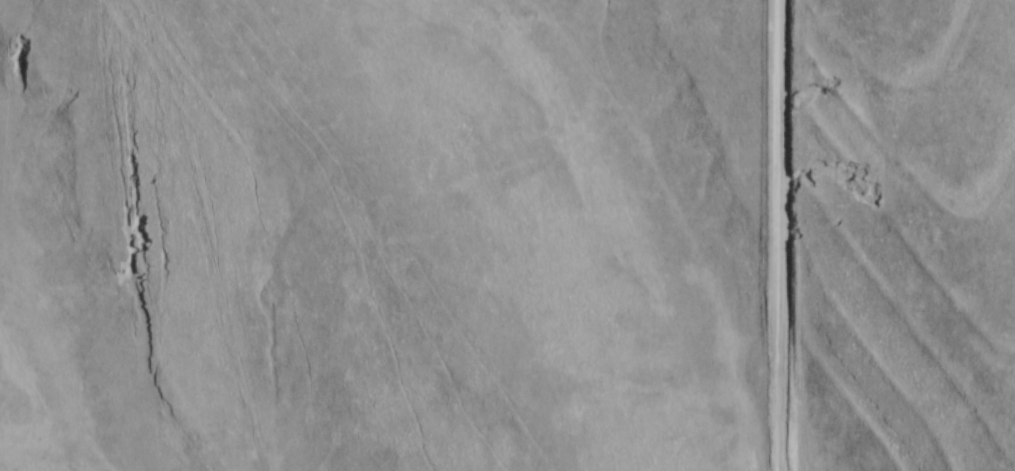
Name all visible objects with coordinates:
road: (779, 235)

